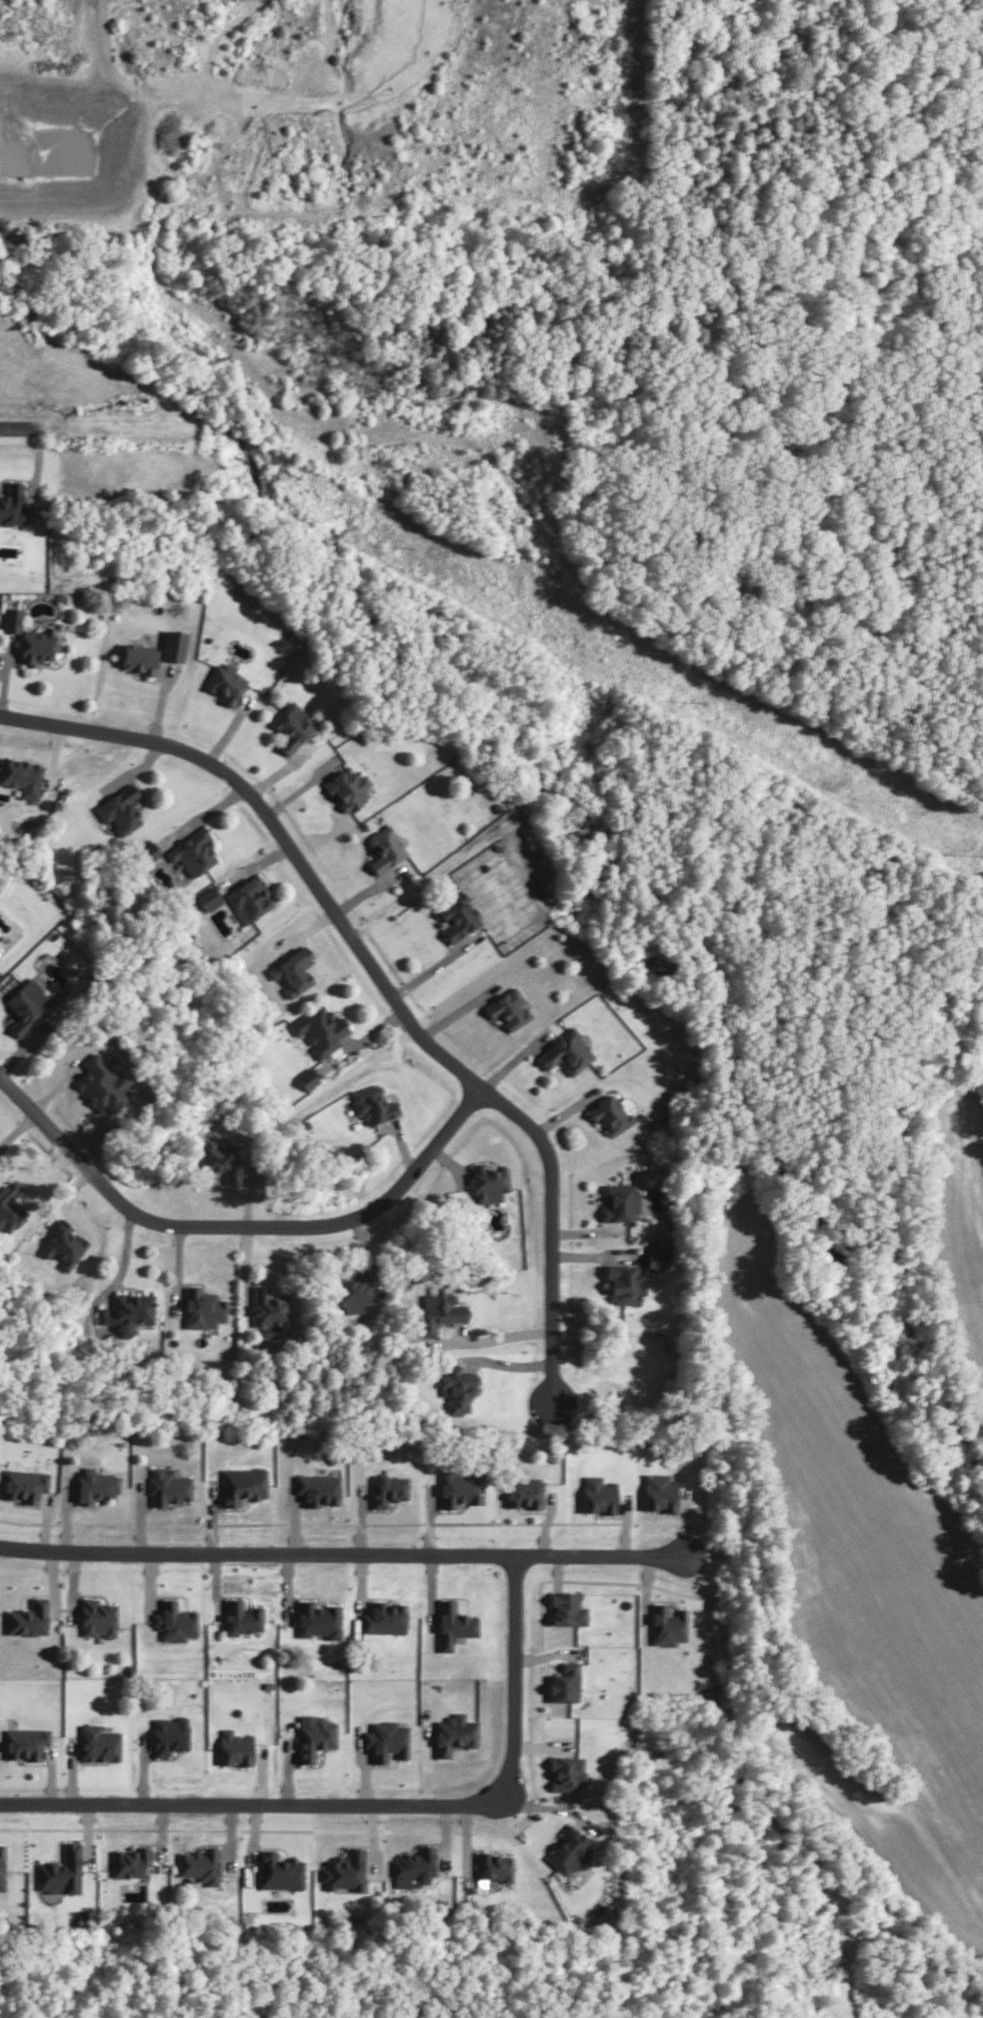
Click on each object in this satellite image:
power tower: (144, 410)
road: (23, 420)
building: (12, 499)
power tower: (409, 548)
building: (12, 618)
building: (173, 645)
building: (39, 646)
building: (140, 659)
building: (227, 683)
power tower: (706, 701)
building: (293, 728)
building: (21, 775)
building: (349, 789)
building: (122, 809)
building: (387, 848)
building: (149, 851)
building: (195, 852)
building: (209, 898)
building: (251, 898)
building: (459, 917)
building: (295, 971)
road: (382, 976)
building: (28, 1008)
building: (510, 1009)
building: (322, 1031)
building: (567, 1052)
building: (308, 1078)
building: (102, 1083)
building: (372, 1103)
building: (611, 1114)
building: (223, 1157)
building: (491, 1182)
building: (621, 1202)
building: (10, 1204)
road: (238, 1219)
building: (63, 1244)
building: (657, 1261)
building: (623, 1285)
building: (354, 1292)
building: (205, 1308)
building: (438, 1310)
building: (271, 1311)
building: (128, 1312)
road: (498, 1336)
building: (459, 1387)
building: (24, 1484)
building: (242, 1484)
building: (95, 1485)
building: (168, 1487)
building: (317, 1488)
building: (387, 1488)
building: (460, 1488)
building: (523, 1491)
building: (659, 1492)
building: (598, 1495)
road: (342, 1546)
building: (567, 1608)
road: (707, 1612)
building: (97, 1617)
building: (242, 1617)
building: (384, 1617)
building: (28, 1618)
building: (318, 1619)
building: (175, 1621)
building: (452, 1624)
building: (667, 1625)
road: (512, 1659)
building: (565, 1682)
building: (453, 1733)
building: (169, 1734)
building: (314, 1736)
building: (385, 1740)
building: (26, 1742)
building: (98, 1743)
building: (235, 1747)
building: (566, 1773)
road: (259, 1797)
building: (569, 1850)
building: (130, 1861)
building: (200, 1864)
building: (413, 1864)
building: (1, 1865)
building: (494, 1866)
building: (280, 1870)
building: (345, 1870)
building: (61, 1871)

